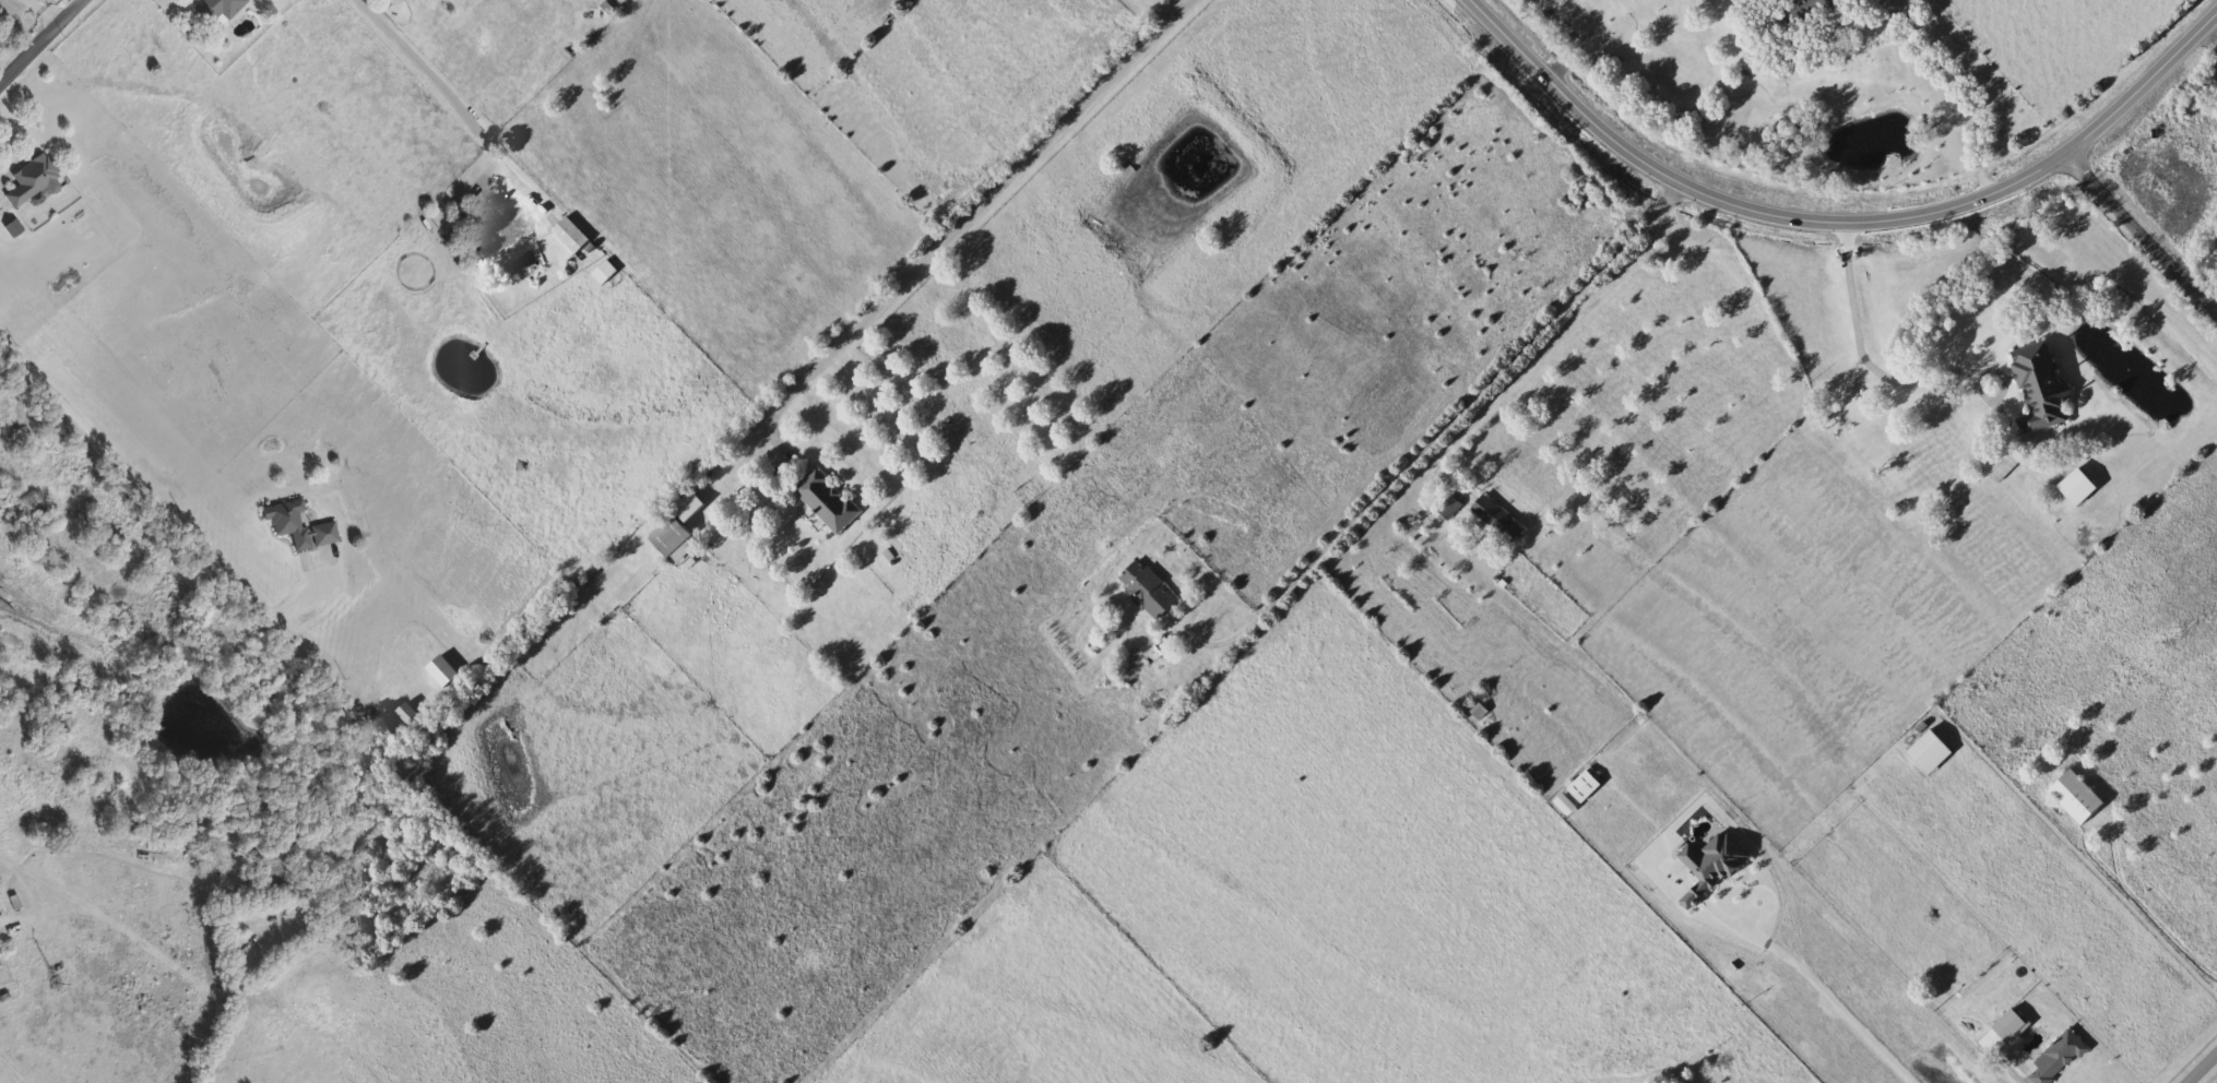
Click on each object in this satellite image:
road: (73, 2)
building: (1810, 8)
road: (47, 9)
building: (222, 9)
road: (40, 40)
road: (442, 88)
building: (2202, 108)
building: (35, 182)
road: (962, 222)
road: (1836, 222)
road: (2142, 231)
building: (571, 236)
building: (507, 237)
building: (605, 273)
road: (1572, 329)
road: (1863, 349)
building: (2042, 391)
road: (1432, 440)
building: (2005, 464)
building: (2079, 488)
road: (151, 500)
building: (829, 501)
building: (1498, 520)
building: (301, 528)
building: (675, 541)
building: (630, 588)
building: (1149, 591)
road: (321, 668)
building: (1479, 712)
building: (404, 722)
building: (1931, 754)
building: (2077, 799)
building: (275, 867)
building: (0, 914)
road: (1822, 997)
building: (2012, 1027)
building: (2060, 1058)
road: (2200, 1066)
road: (2000, 1067)

